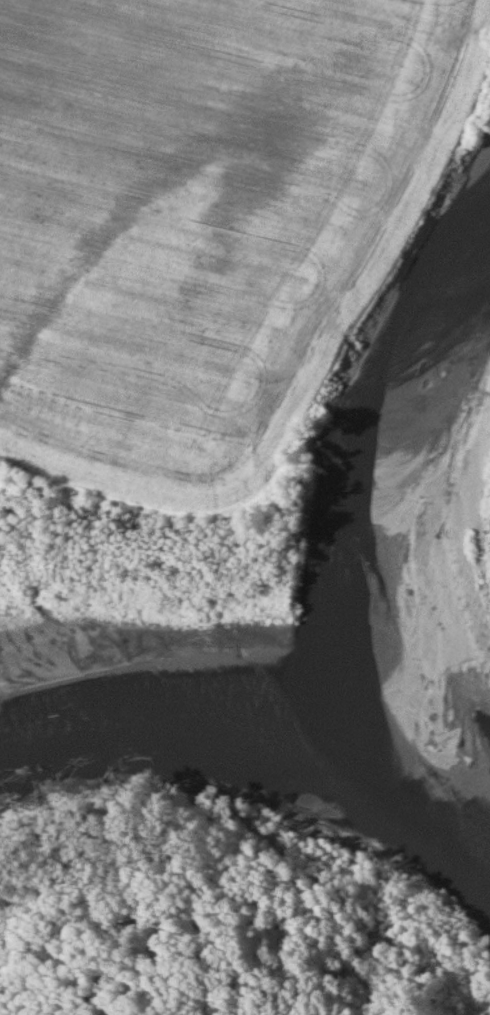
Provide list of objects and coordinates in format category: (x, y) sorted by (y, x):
river: (250, 628)
park: (216, 890)
road: (175, 952)

